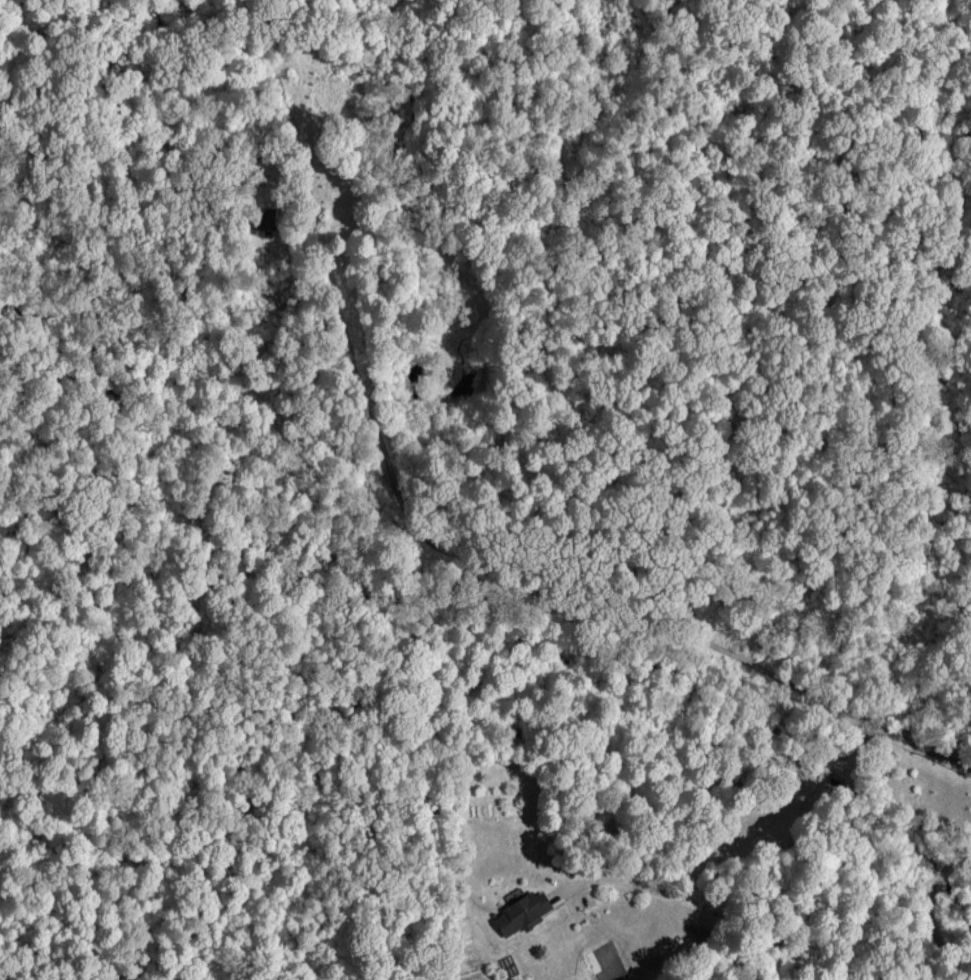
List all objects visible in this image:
road: (829, 701)
road: (730, 841)
road: (929, 905)
building: (523, 911)

